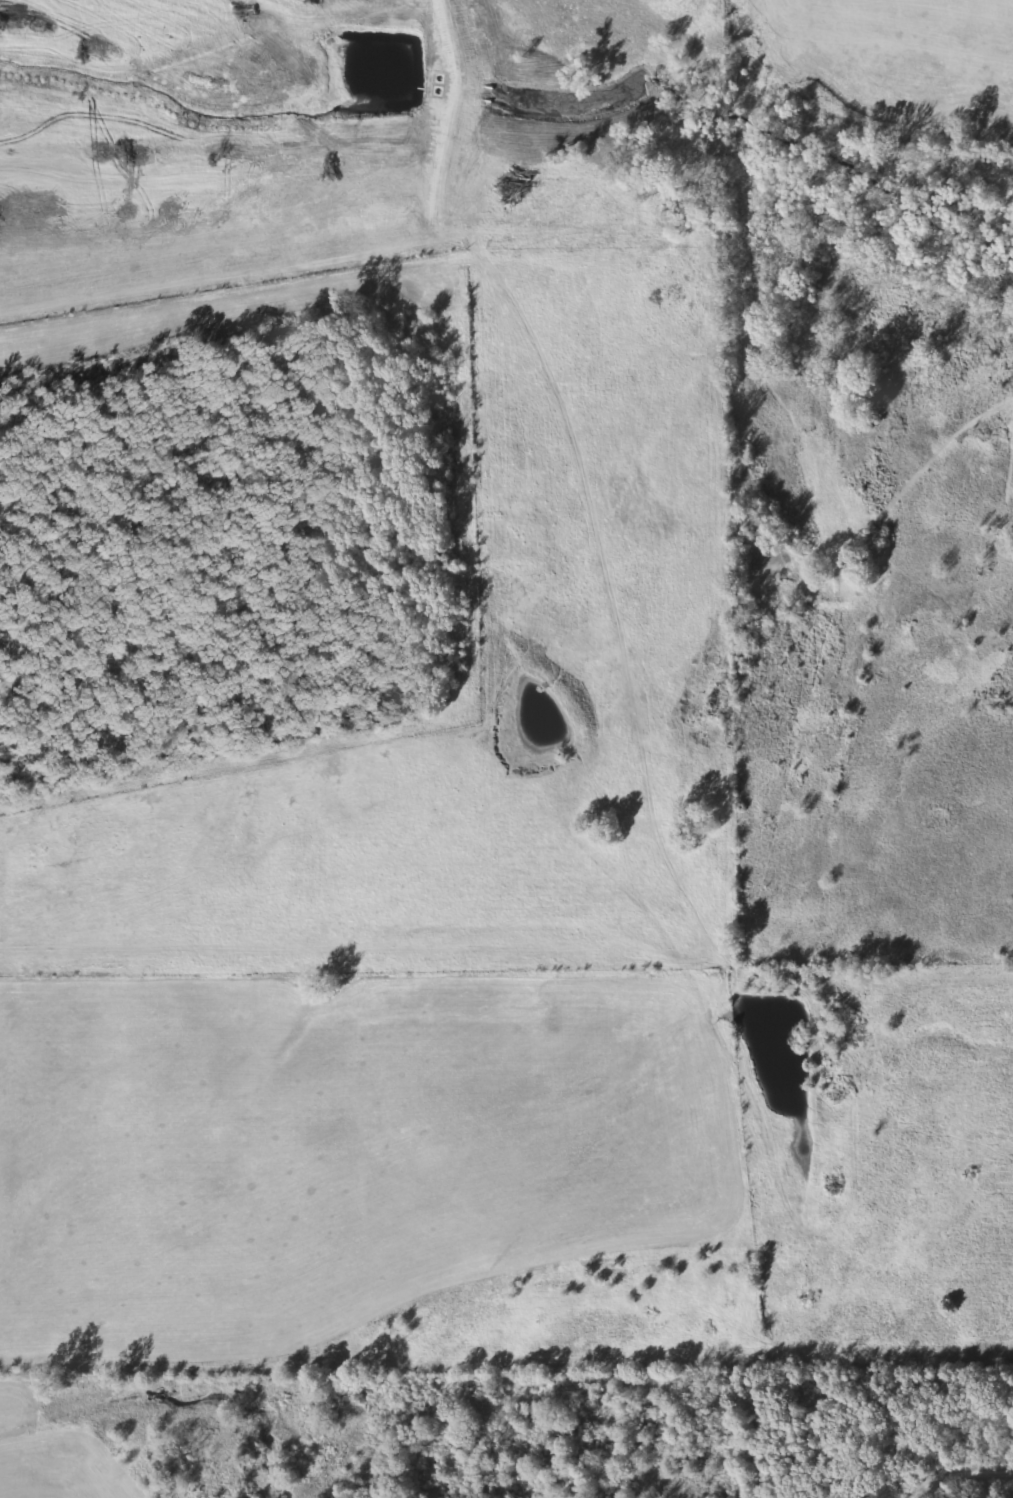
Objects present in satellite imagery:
road: (957, 1469)

